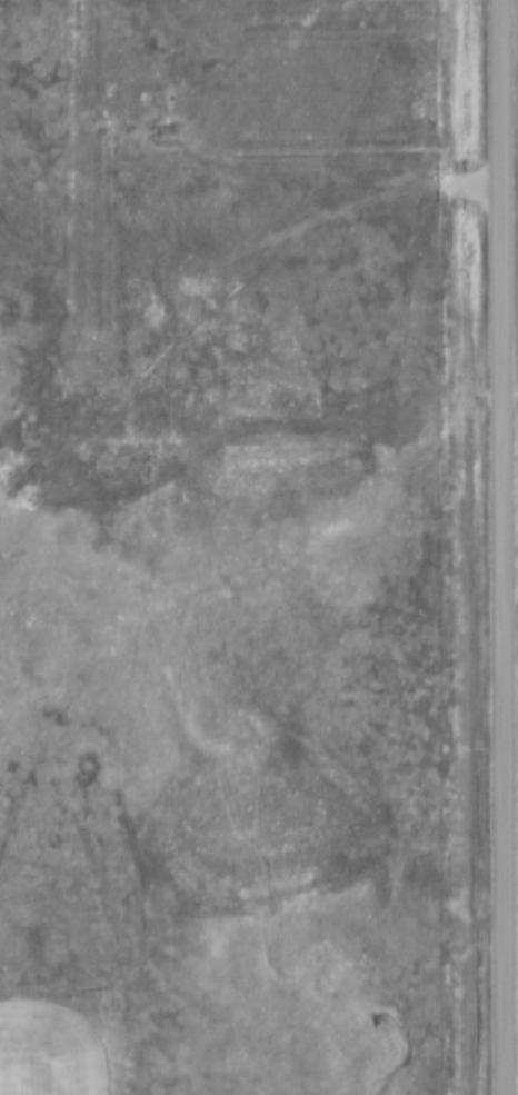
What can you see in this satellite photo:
road: (339, 421)
road: (14, 538)
road: (509, 547)

